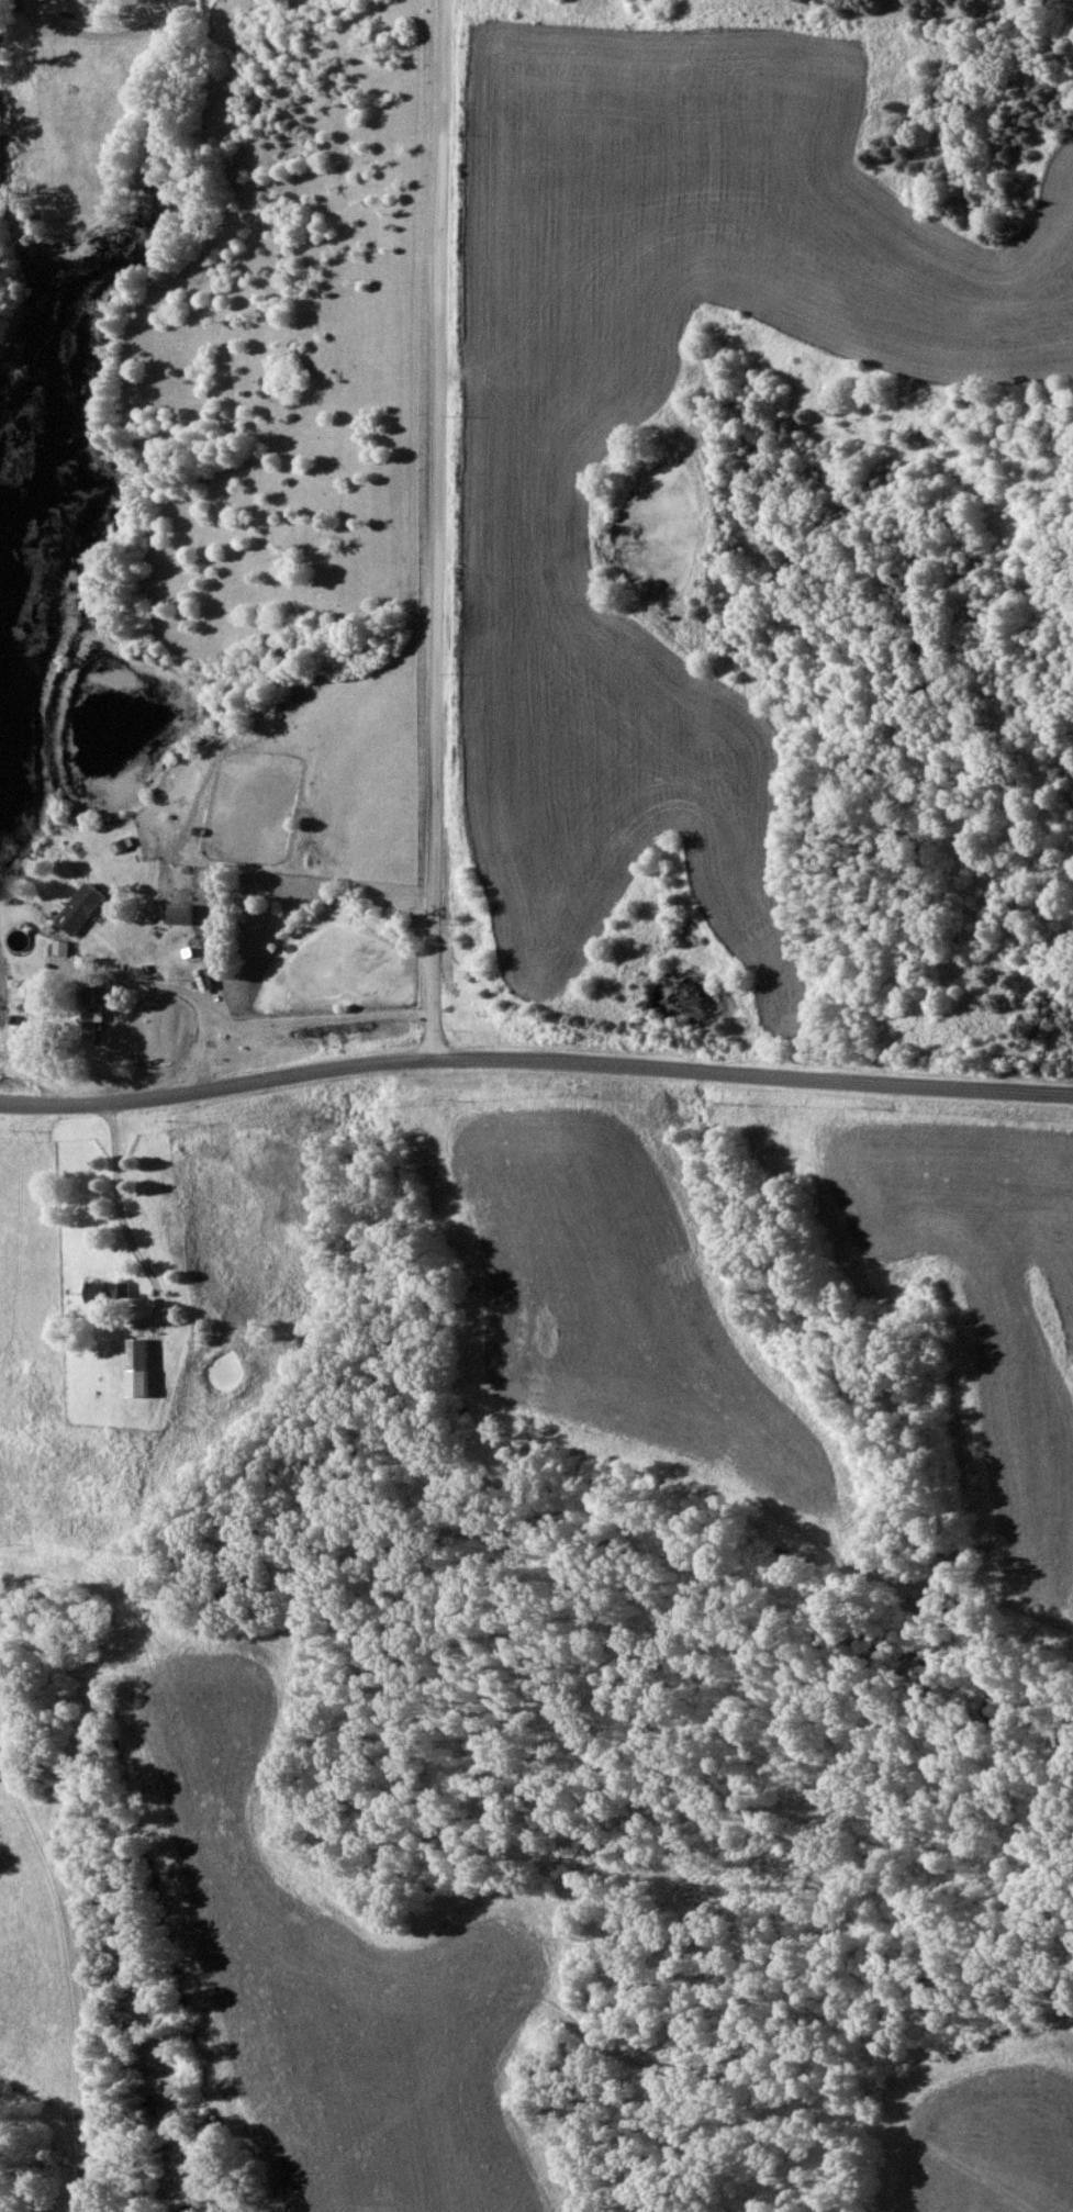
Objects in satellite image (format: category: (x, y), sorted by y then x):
road: (171, 5)
road: (112, 41)
road: (746, 336)
road: (444, 530)
building: (90, 909)
building: (188, 916)
road: (194, 999)
building: (98, 1021)
road: (320, 1024)
road: (535, 1068)
road: (145, 1260)
building: (113, 1293)
building: (144, 1367)
building: (41, 1385)
road: (135, 1615)

